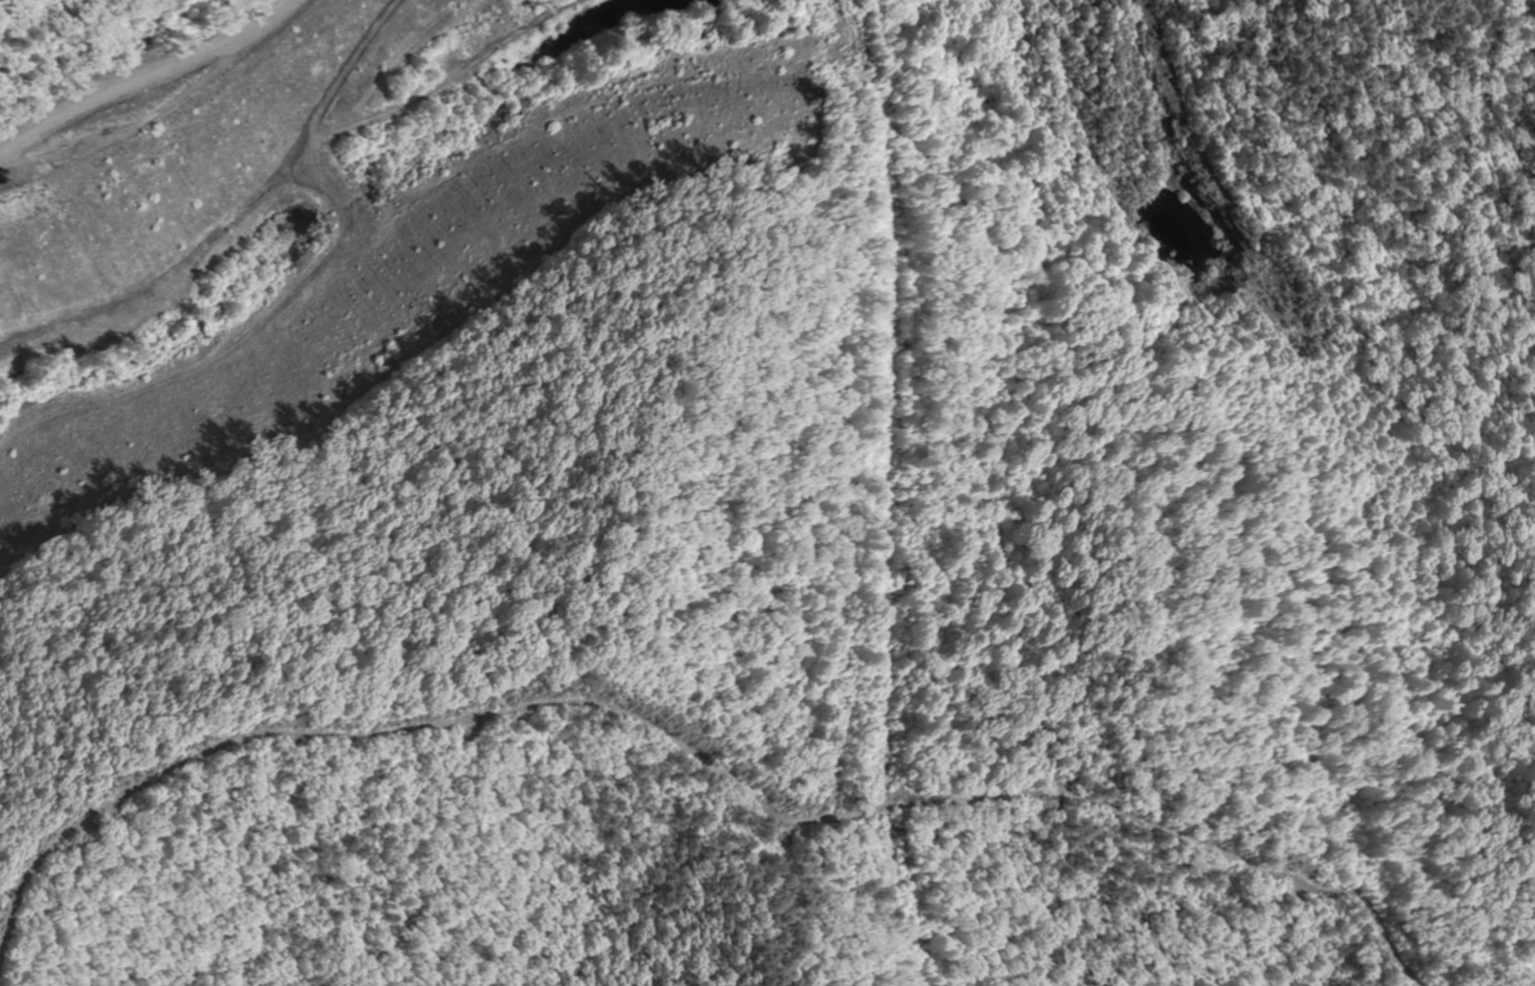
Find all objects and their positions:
road: (189, 117)

